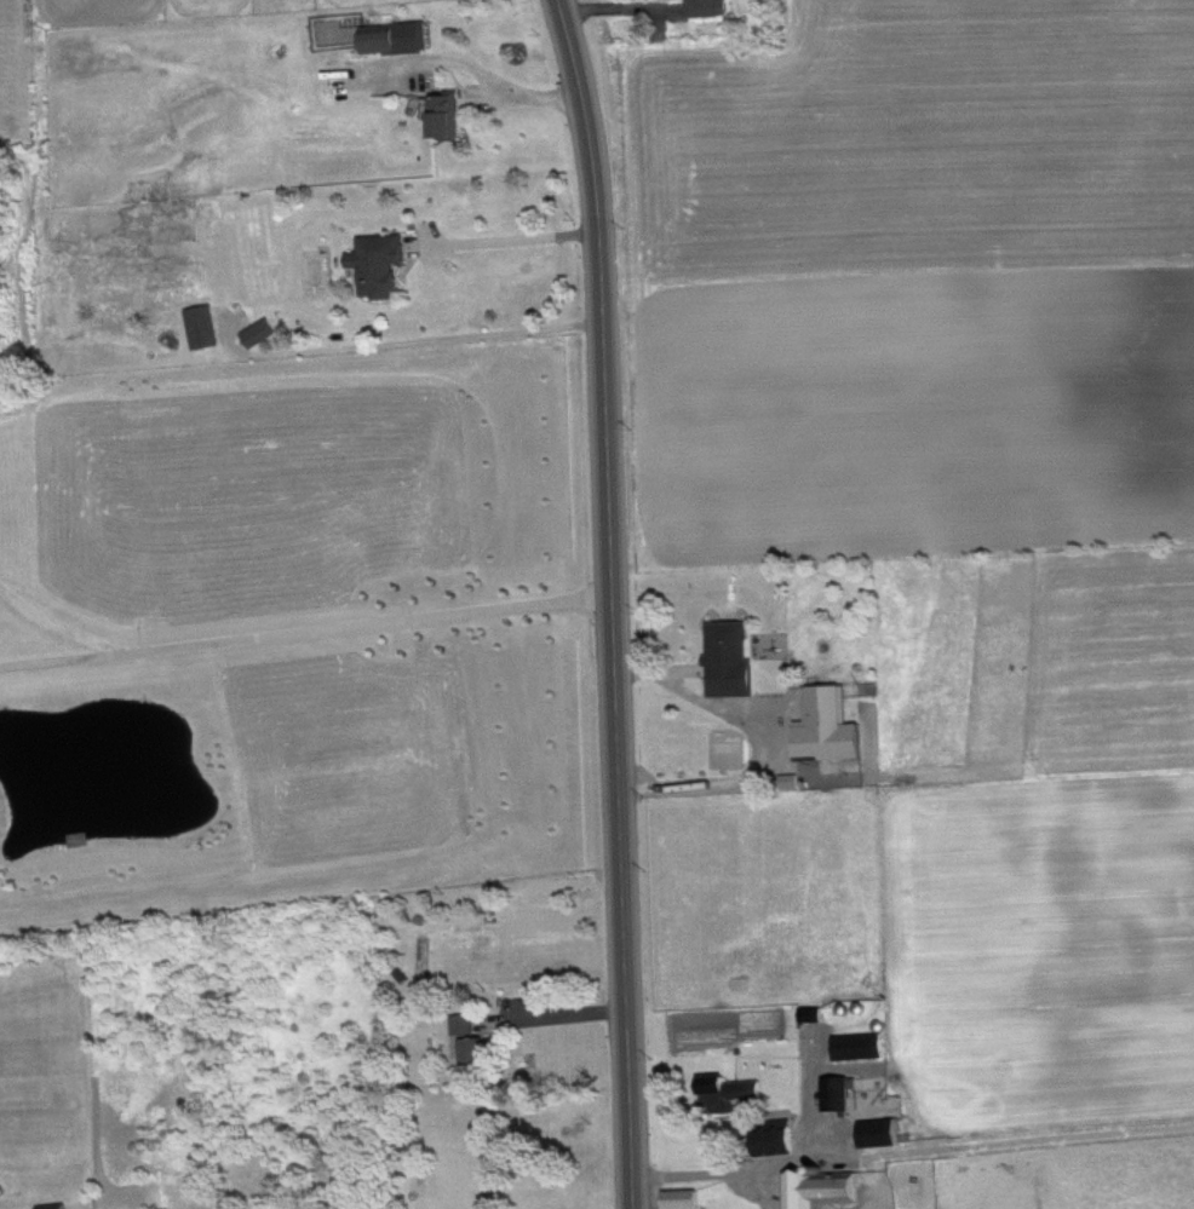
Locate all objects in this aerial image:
building: (706, 7)
building: (392, 38)
road: (478, 69)
building: (442, 114)
road: (515, 238)
building: (378, 263)
building: (202, 326)
building: (259, 330)
road: (406, 341)
road: (613, 601)
road: (62, 627)
road: (306, 632)
building: (722, 649)
building: (773, 709)
road: (758, 741)
building: (467, 1040)
building: (857, 1043)
building: (725, 1090)
building: (838, 1090)
building: (878, 1130)
building: (774, 1134)
road: (776, 1165)
building: (820, 1187)
building: (681, 1198)
building: (61, 1205)

